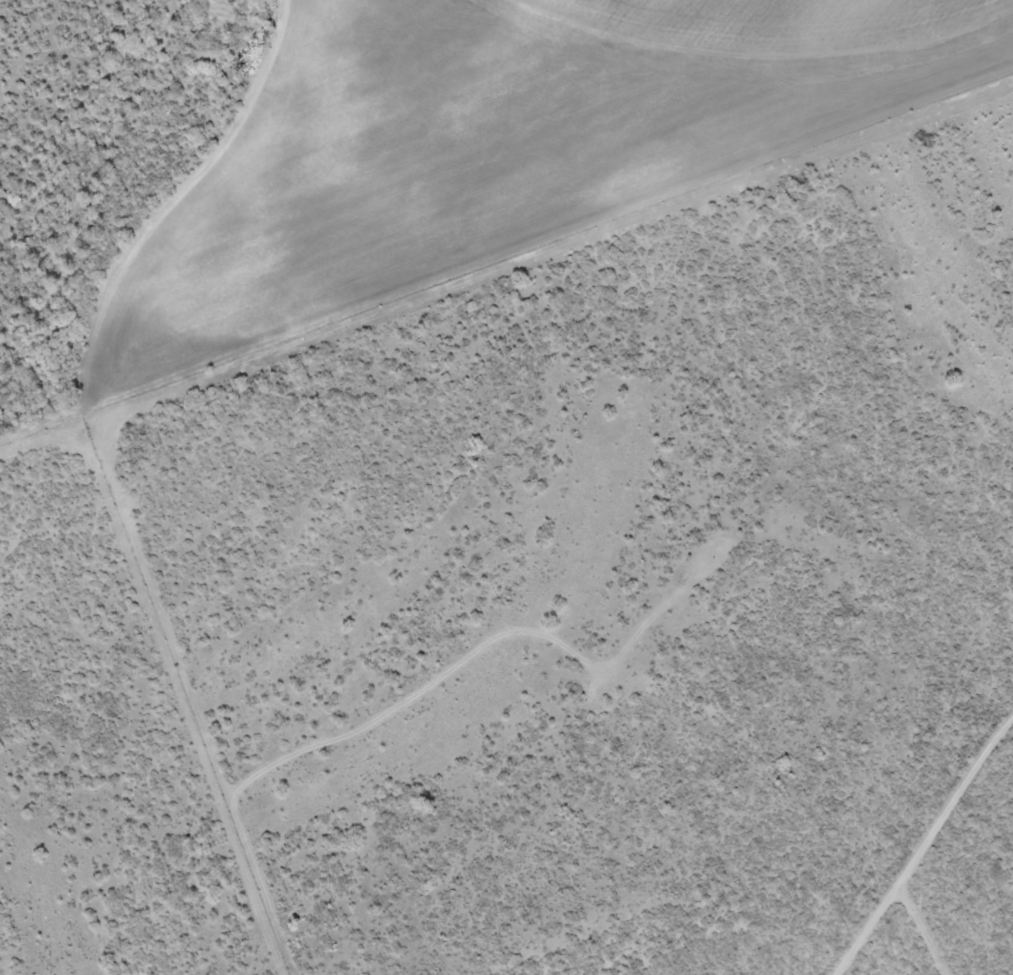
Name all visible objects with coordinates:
road: (923, 785)
road: (969, 825)

